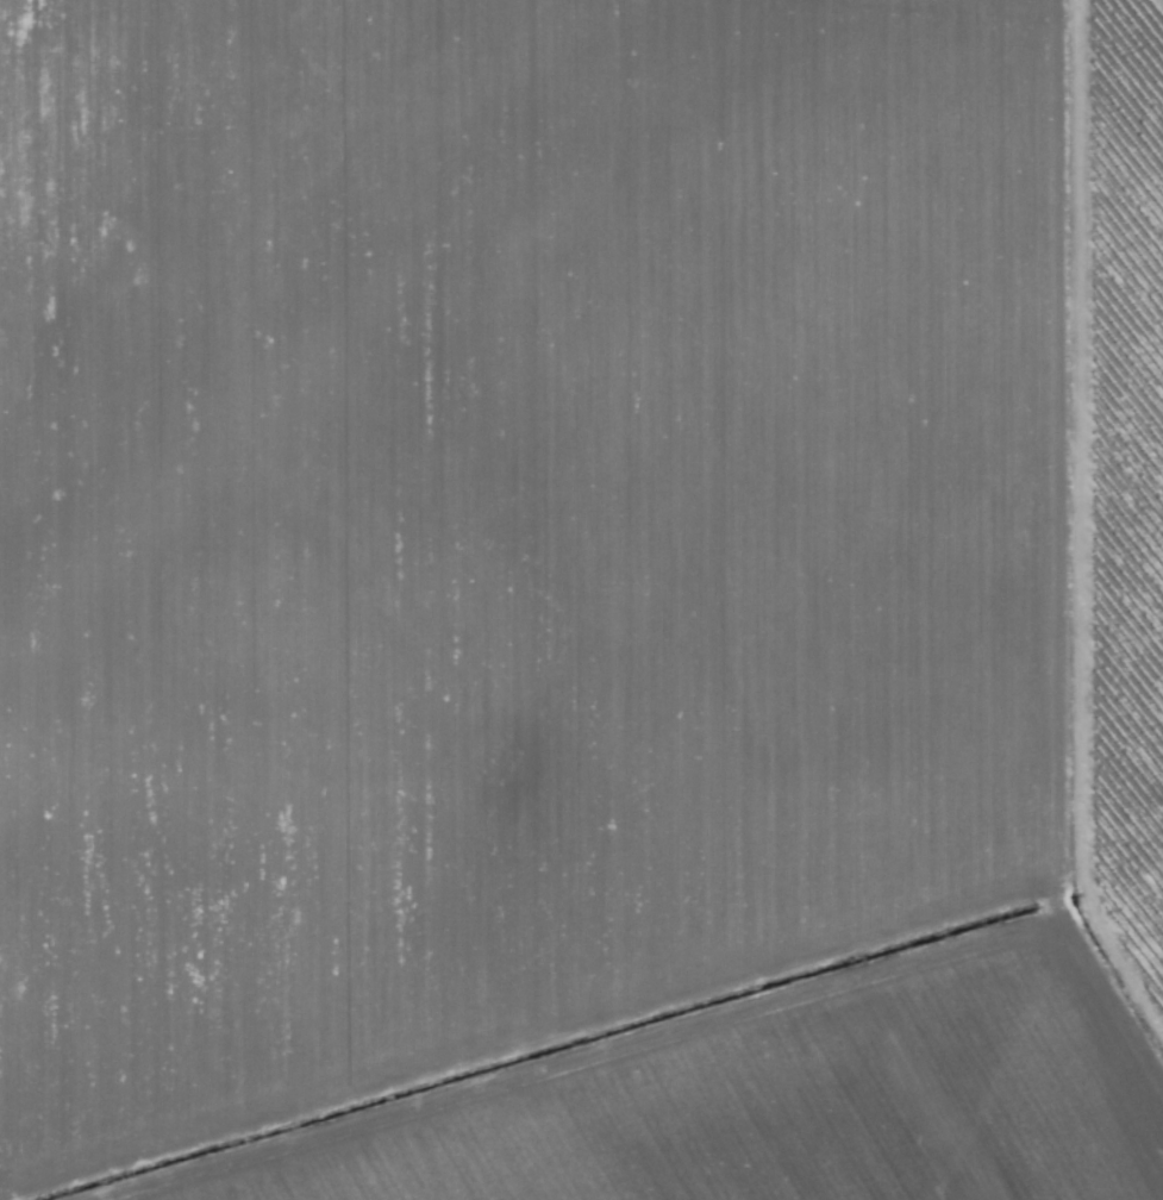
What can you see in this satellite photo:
crop: (581, 600)

